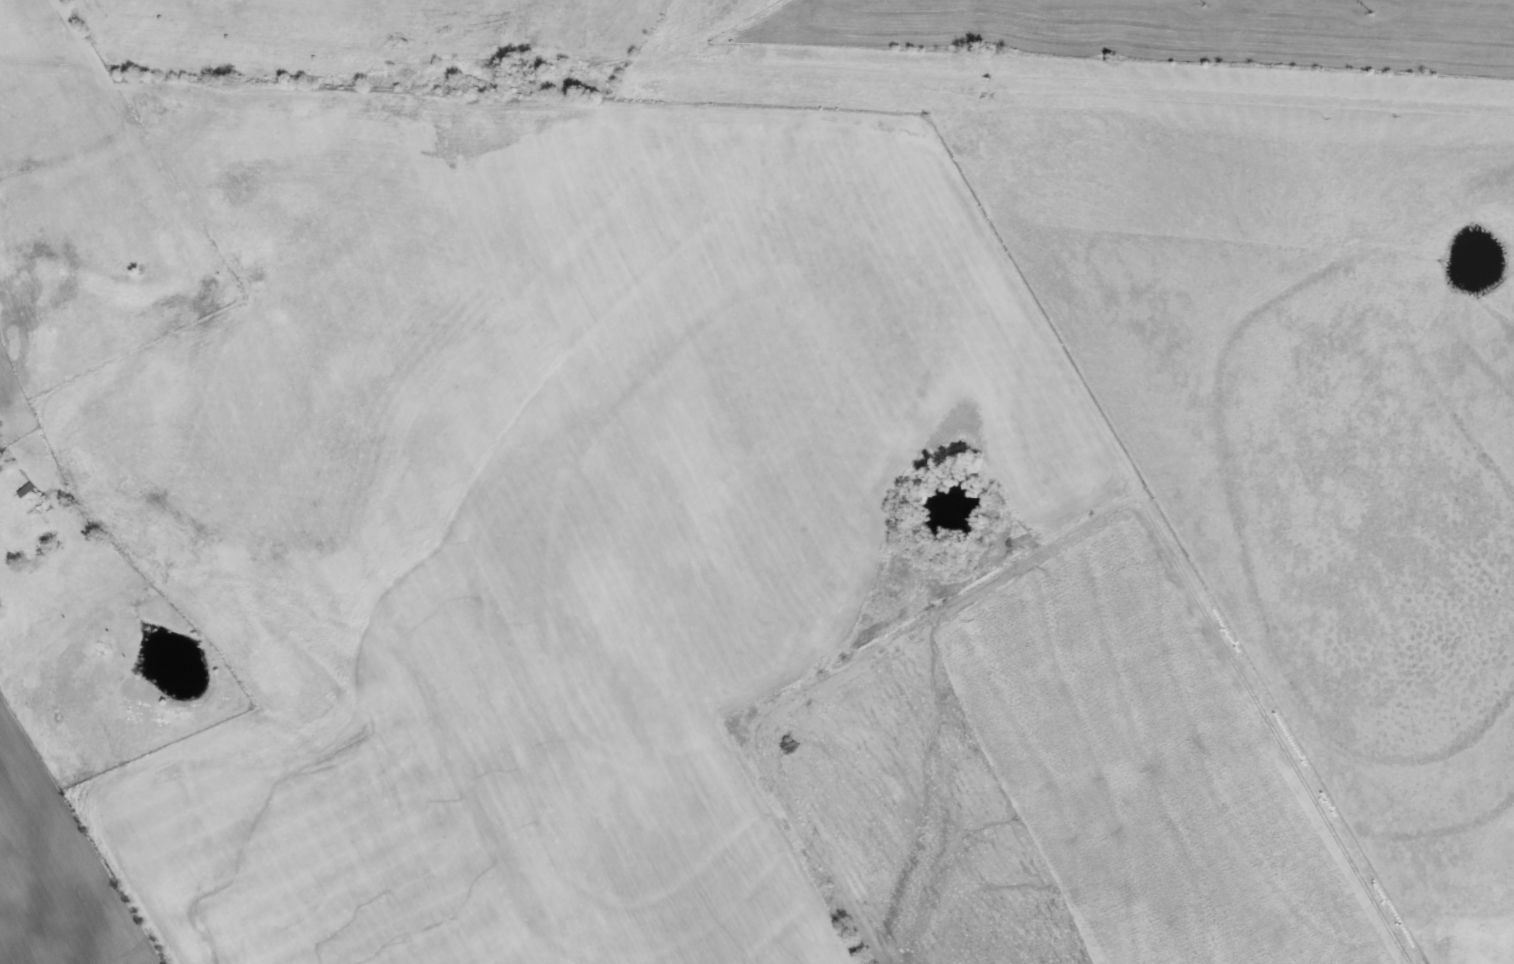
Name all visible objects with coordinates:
railway: (757, 73)
road: (176, 236)
building: (0, 467)

